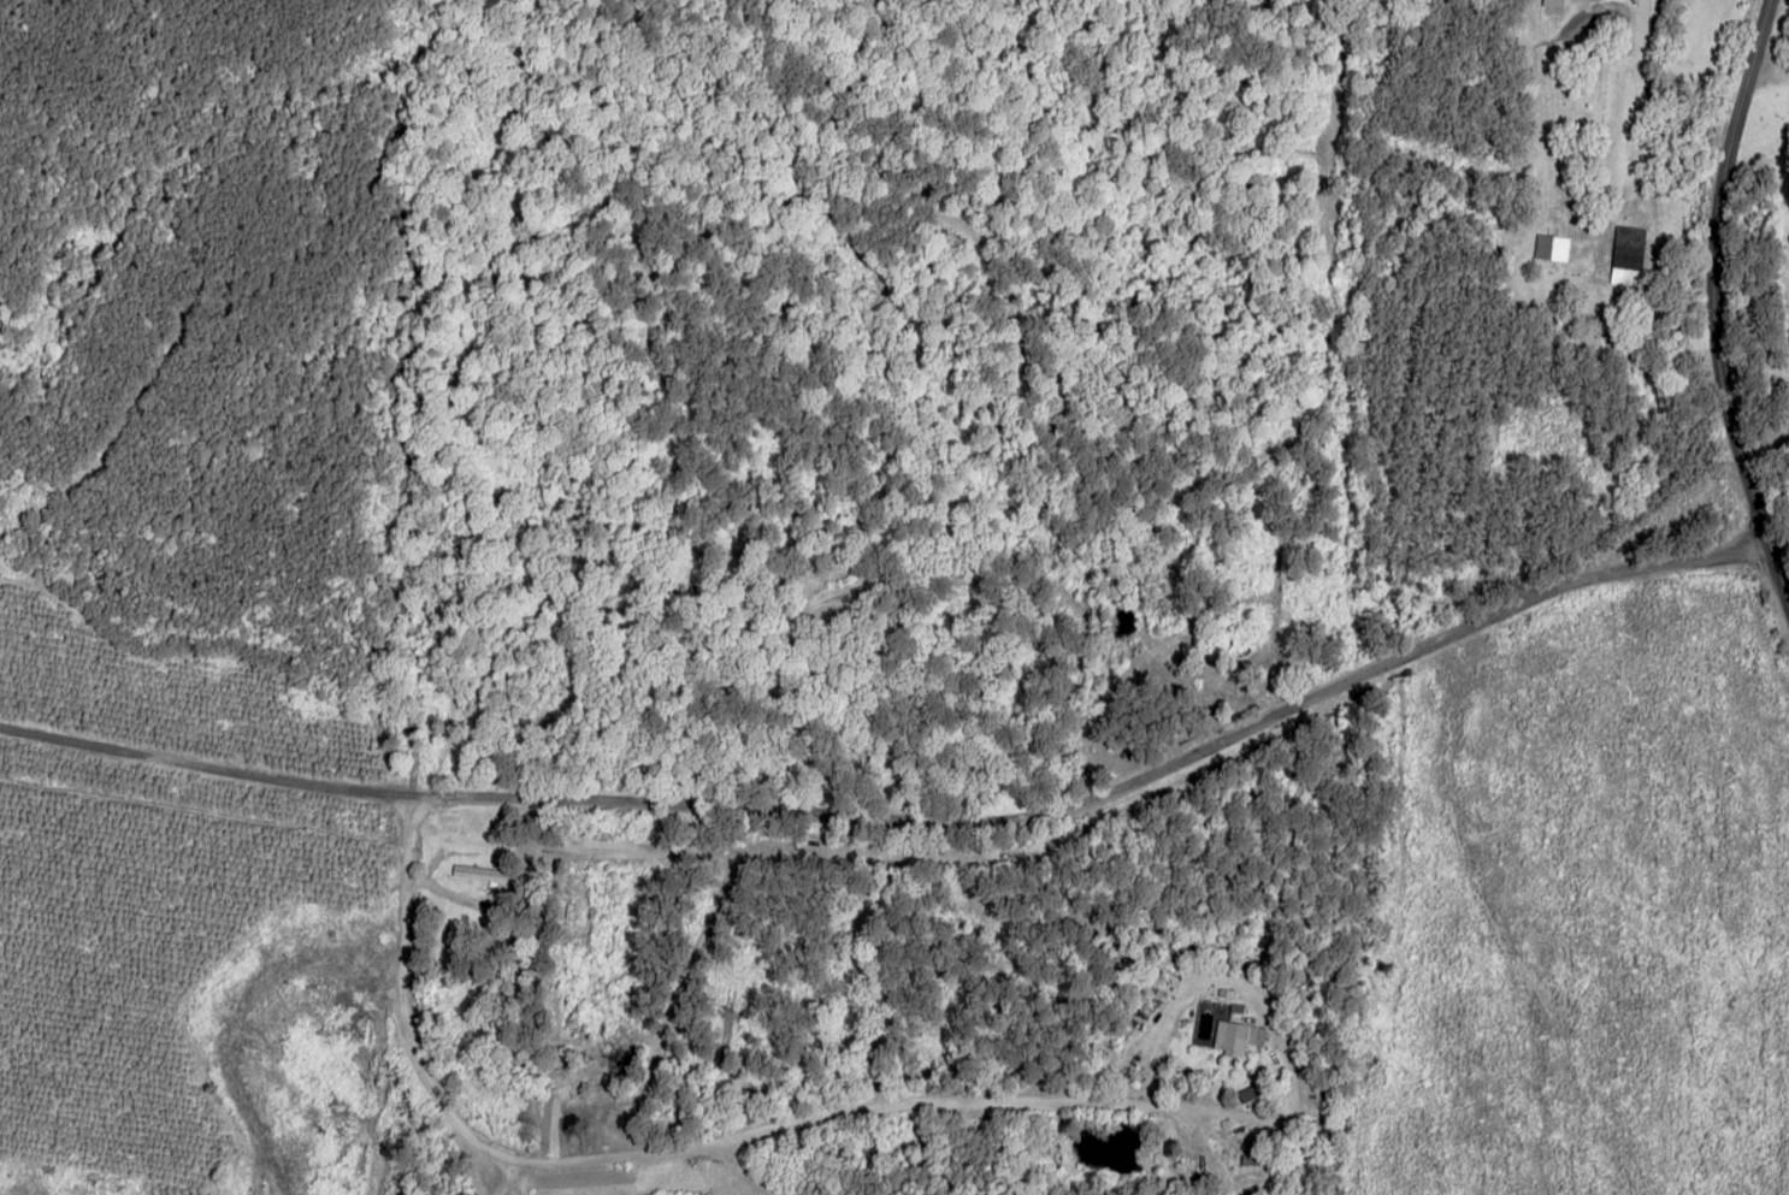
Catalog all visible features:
building: (1551, 2)
building: (1551, 247)
building: (1626, 255)
road: (1699, 314)
road: (909, 858)
building: (479, 874)
road: (384, 1028)
building: (1235, 1035)
building: (1247, 1092)
road: (832, 1105)
road: (738, 1165)
road: (494, 1182)

